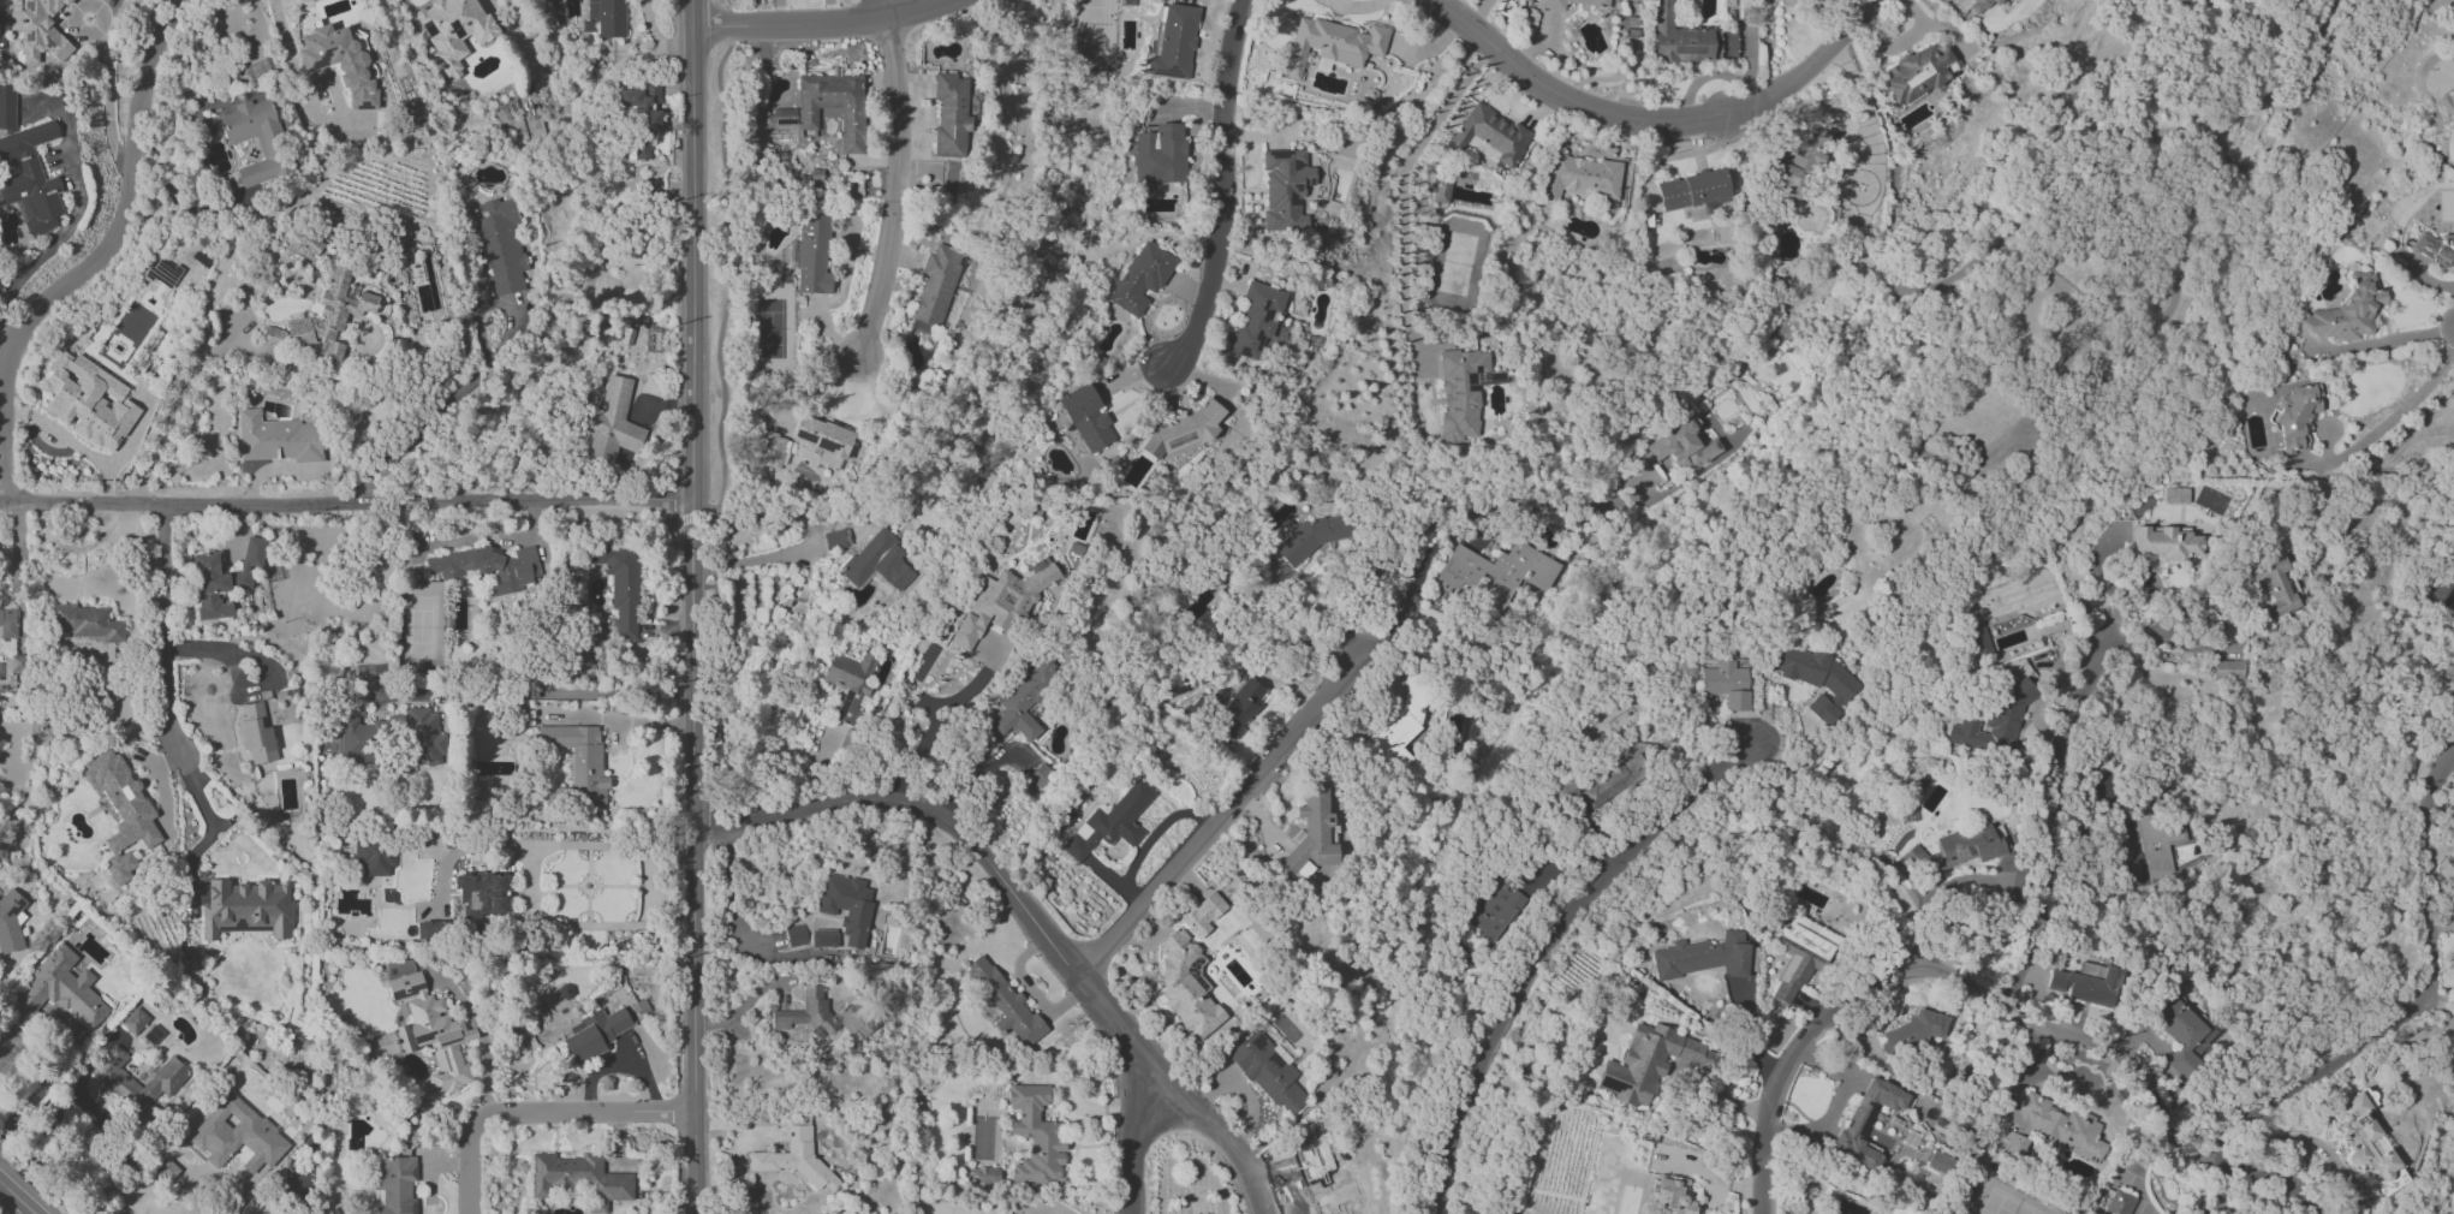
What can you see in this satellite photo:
building: (1550, 4)
building: (1979, 6)
road: (886, 11)
building: (604, 18)
road: (820, 24)
building: (37, 29)
building: (453, 31)
building: (1688, 40)
building: (1172, 42)
building: (1332, 44)
building: (339, 63)
building: (1916, 73)
road: (106, 99)
building: (643, 107)
building: (949, 114)
building: (781, 119)
road: (1658, 119)
building: (1490, 136)
building: (268, 141)
building: (1156, 155)
building: (1801, 161)
building: (26, 169)
building: (1582, 177)
road: (2072, 183)
building: (1442, 189)
road: (1225, 190)
building: (1285, 190)
road: (899, 191)
building: (1693, 191)
road: (1405, 192)
road: (53, 242)
building: (309, 245)
building: (500, 246)
park: (2098, 249)
building: (2434, 249)
building: (812, 255)
road: (97, 260)
building: (162, 274)
building: (1140, 279)
building: (936, 285)
building: (2345, 311)
building: (330, 316)
building: (1256, 320)
building: (275, 337)
road: (5, 341)
building: (1463, 391)
building: (87, 400)
road: (174, 403)
building: (2295, 415)
building: (1085, 418)
road: (2392, 419)
building: (612, 423)
road: (427, 424)
building: (1184, 432)
building: (276, 439)
building: (823, 441)
building: (1684, 447)
building: (772, 451)
building: (2175, 495)
road: (346, 504)
building: (833, 540)
building: (1308, 540)
building: (2166, 542)
road: (754, 558)
building: (877, 563)
building: (490, 569)
building: (1496, 573)
building: (222, 579)
building: (619, 585)
building: (2271, 587)
building: (2443, 587)
road: (1411, 589)
building: (1001, 602)
road: (693, 607)
building: (7, 621)
building: (85, 623)
road: (2169, 624)
building: (2226, 670)
building: (1818, 680)
road: (242, 682)
building: (850, 684)
building: (1727, 684)
building: (1025, 701)
road: (169, 707)
building: (1234, 707)
road: (614, 721)
road: (939, 721)
building: (256, 734)
building: (419, 736)
building: (356, 742)
building: (579, 761)
building: (1615, 780)
building: (121, 813)
road: (1229, 816)
road: (2053, 816)
building: (1110, 822)
building: (1312, 833)
road: (1152, 841)
building: (2167, 845)
building: (1960, 849)
building: (375, 857)
road: (1865, 858)
road: (529, 885)
building: (480, 895)
building: (846, 906)
building: (246, 909)
building: (1495, 911)
road: (1030, 915)
building: (1203, 915)
building: (10, 922)
building: (425, 929)
building: (796, 935)
building: (823, 939)
road: (1551, 950)
building: (1705, 957)
building: (1798, 960)
building: (1186, 984)
building: (2087, 984)
building: (60, 989)
building: (1005, 1002)
road: (2414, 1007)
building: (821, 1016)
building: (135, 1020)
road: (1824, 1023)
building: (1914, 1030)
building: (427, 1033)
building: (2181, 1033)
building: (592, 1034)
road: (481, 1046)
building: (1649, 1063)
building: (1268, 1072)
building: (114, 1079)
road: (38, 1088)
road: (1834, 1107)
road: (540, 1113)
road: (2164, 1115)
building: (1866, 1123)
building: (2047, 1127)
building: (1035, 1136)
building: (238, 1137)
building: (2363, 1137)
road: (1136, 1143)
building: (796, 1160)
building: (1937, 1161)
building: (166, 1171)
building: (982, 1176)
building: (578, 1178)
building: (2390, 1183)
building: (1318, 1184)
building: (394, 1185)
road: (190, 1194)
building: (1670, 1196)
road: (17, 1197)
building: (2118, 1203)

